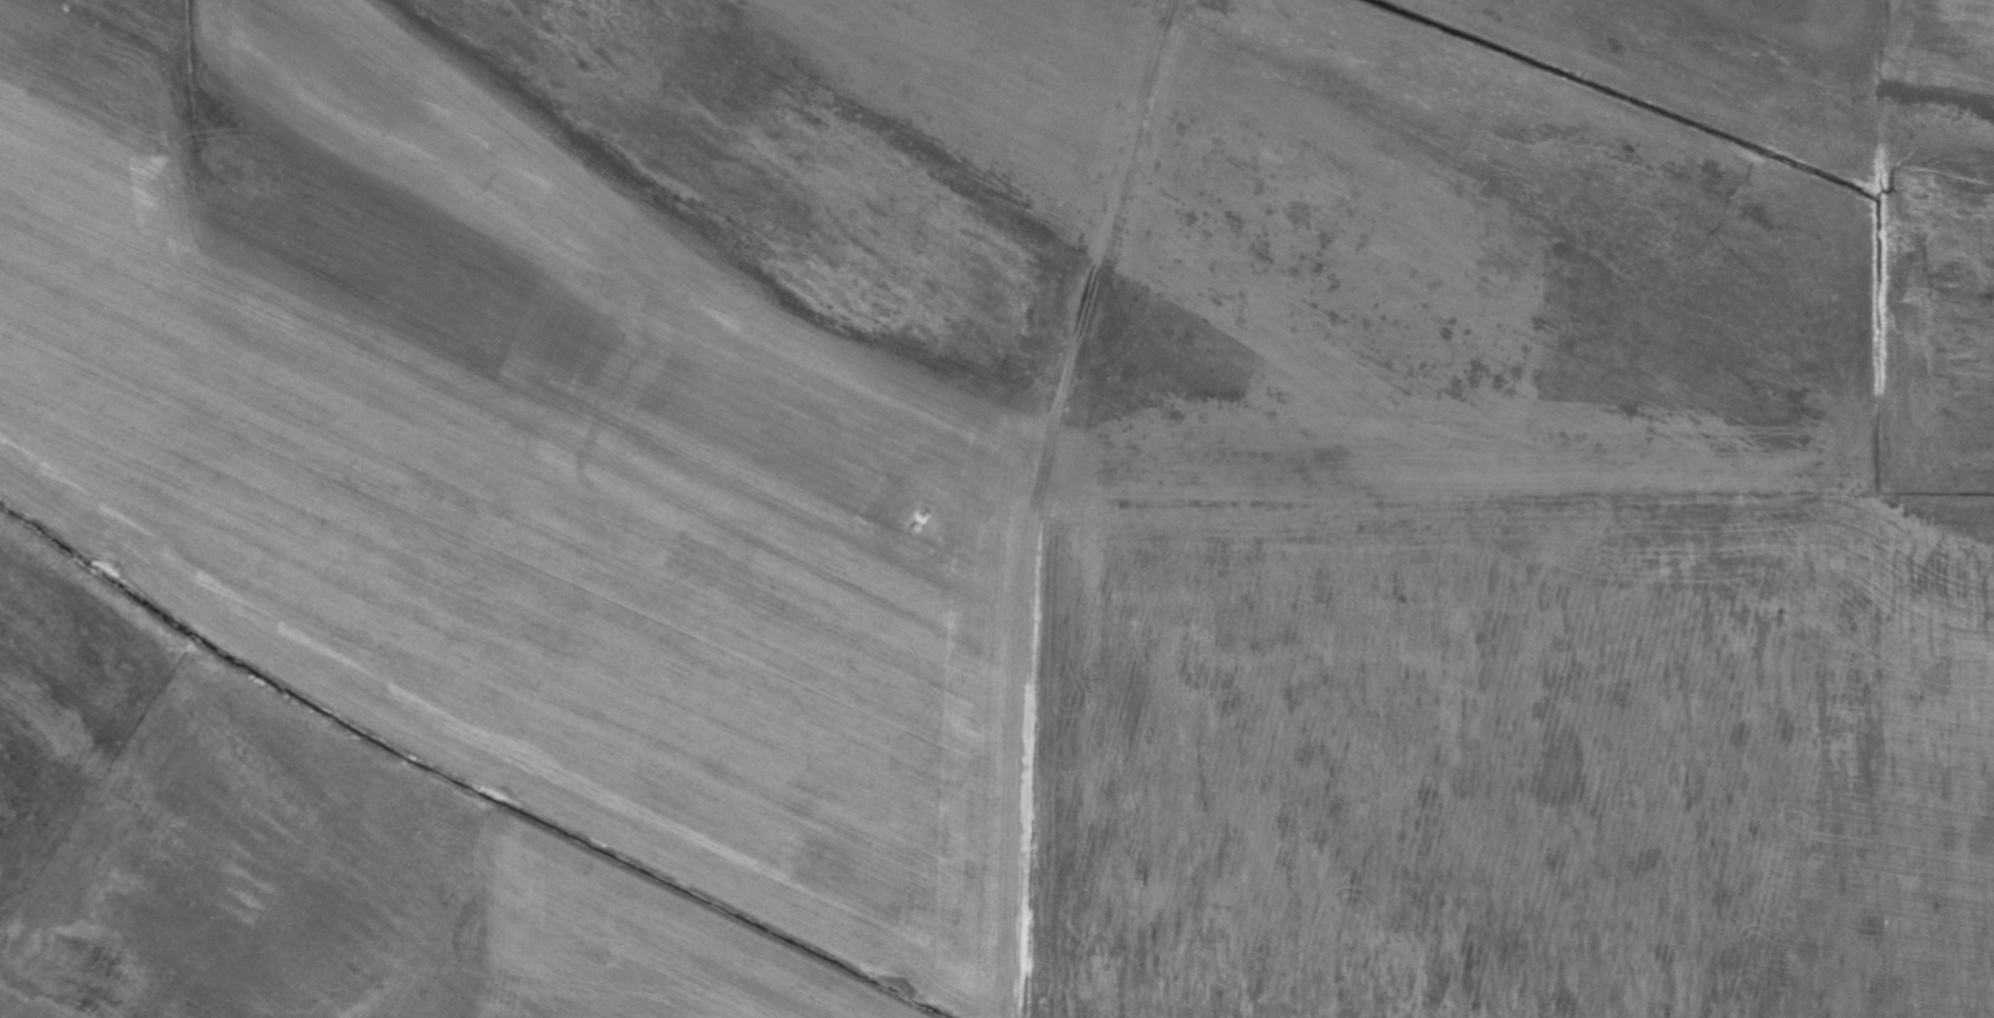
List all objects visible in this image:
road: (1041, 500)

